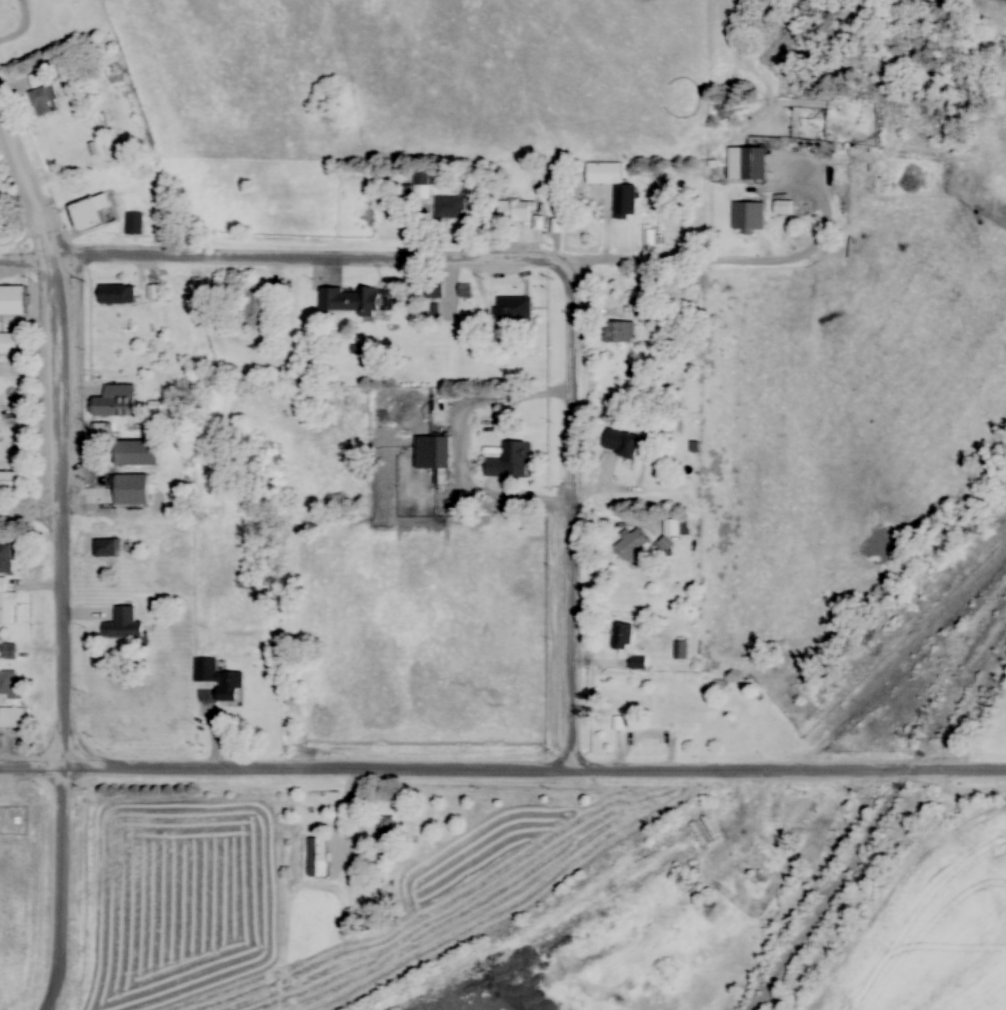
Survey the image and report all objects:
building: (747, 164)
building: (604, 171)
building: (449, 207)
building: (516, 211)
building: (96, 214)
building: (748, 217)
building: (139, 224)
road: (385, 260)
building: (434, 290)
building: (121, 296)
building: (361, 302)
building: (16, 303)
building: (257, 309)
building: (513, 309)
building: (618, 333)
building: (11, 344)
park: (21, 390)
building: (121, 403)
road: (66, 428)
building: (108, 430)
building: (621, 444)
building: (434, 447)
building: (510, 461)
building: (19, 483)
building: (119, 483)
road: (34, 514)
road: (580, 515)
building: (673, 530)
building: (632, 545)
building: (107, 550)
building: (10, 555)
building: (10, 603)
building: (123, 626)
building: (622, 637)
building: (681, 651)
building: (637, 663)
building: (217, 679)
building: (628, 701)
building: (14, 718)
road: (502, 771)
building: (385, 828)
building: (317, 857)
road: (62, 891)

